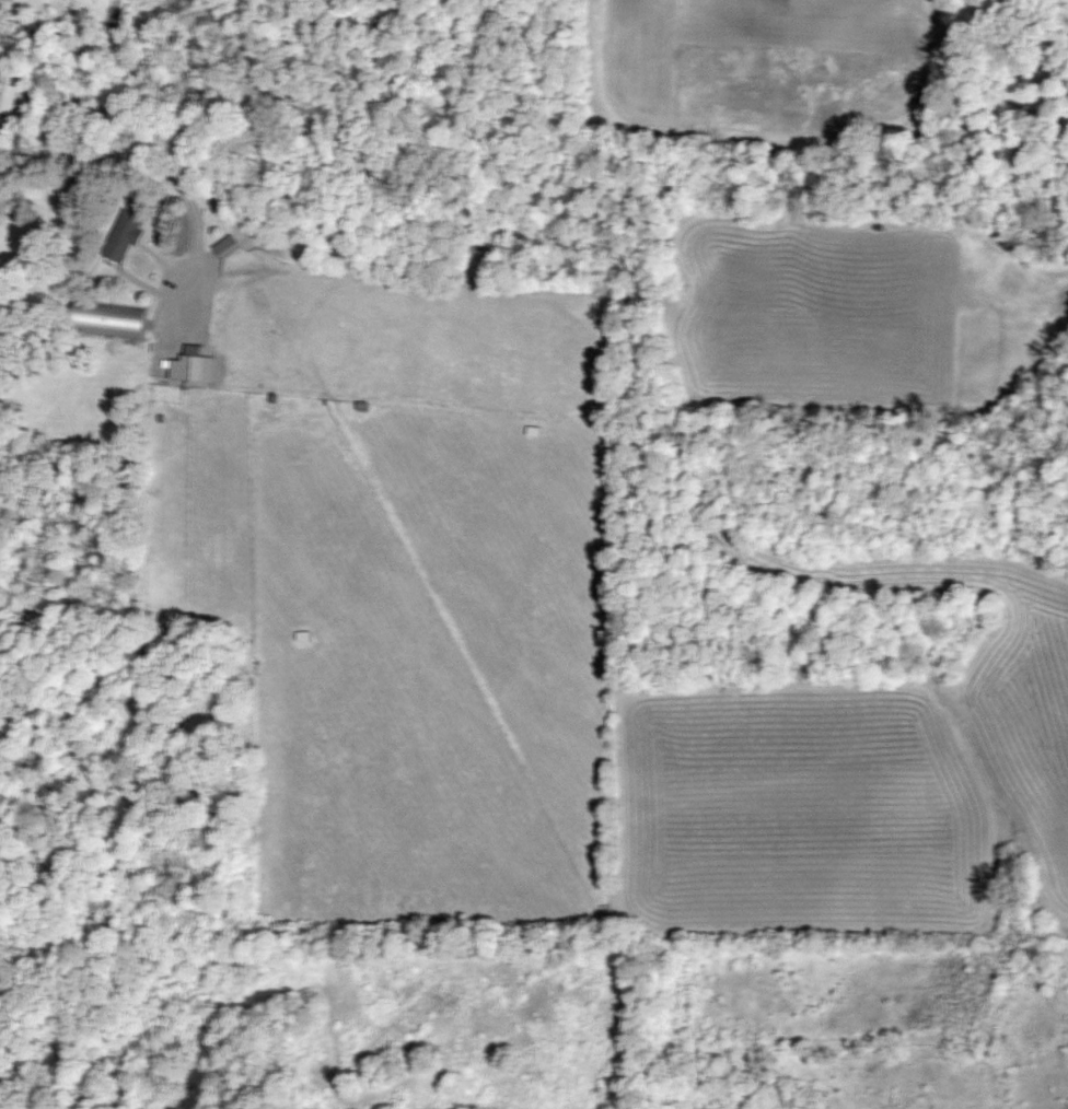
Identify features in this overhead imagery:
building: (13, 94)
building: (123, 235)
building: (223, 244)
road: (202, 252)
building: (106, 319)
road: (622, 363)
building: (190, 365)

